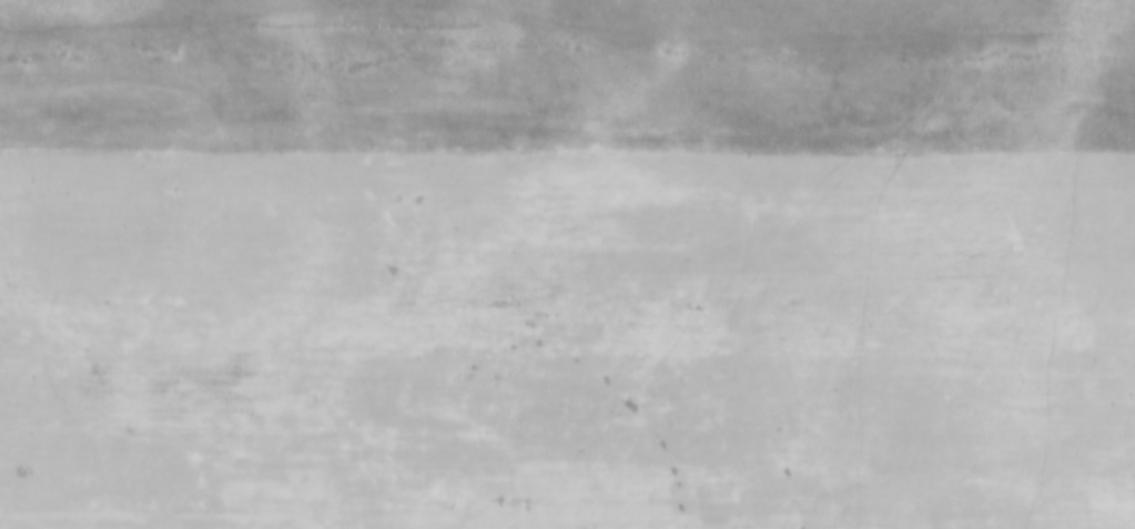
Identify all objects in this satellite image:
road: (567, 130)

